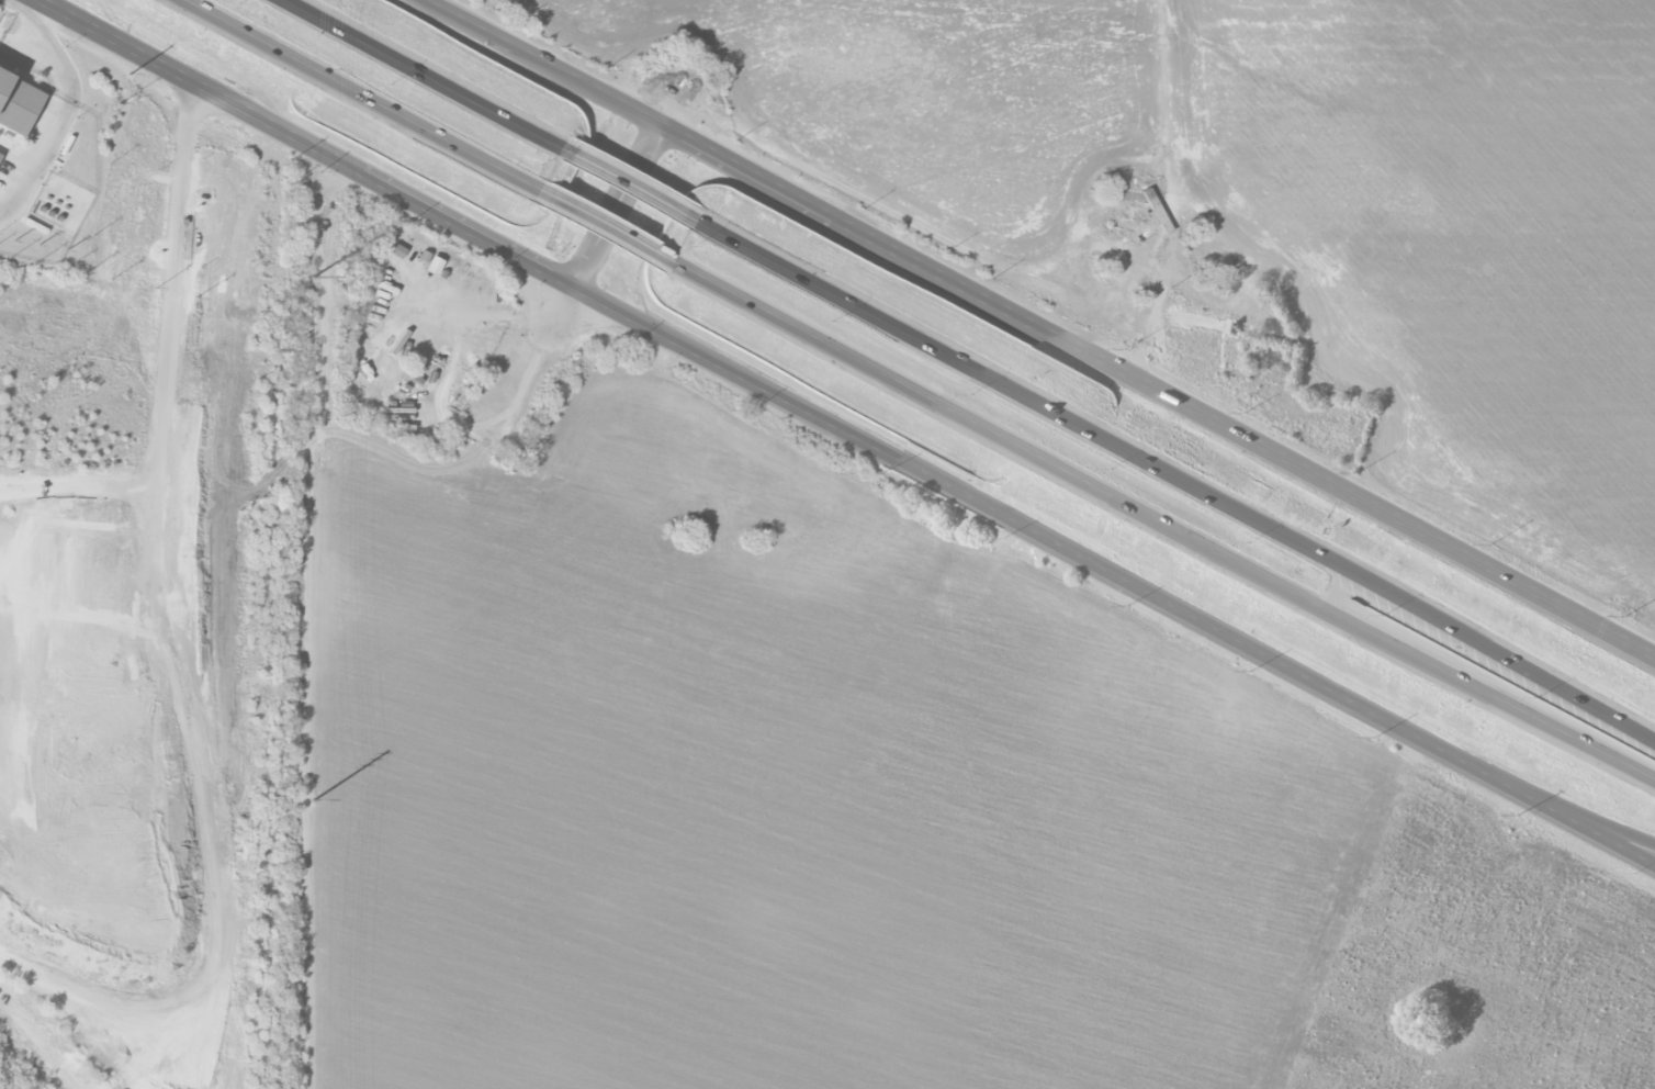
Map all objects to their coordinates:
road: (37, 29)
road: (434, 79)
road: (364, 98)
building: (18, 102)
road: (58, 114)
building: (0, 154)
road: (633, 187)
road: (1168, 191)
building: (1130, 195)
road: (618, 205)
building: (1132, 216)
road: (607, 226)
power tower: (314, 276)
road: (86, 319)
road: (509, 324)
road: (1042, 327)
road: (169, 362)
road: (845, 431)
road: (468, 459)
road: (1170, 478)
road: (1160, 518)
power tower: (313, 800)
road: (1592, 824)

